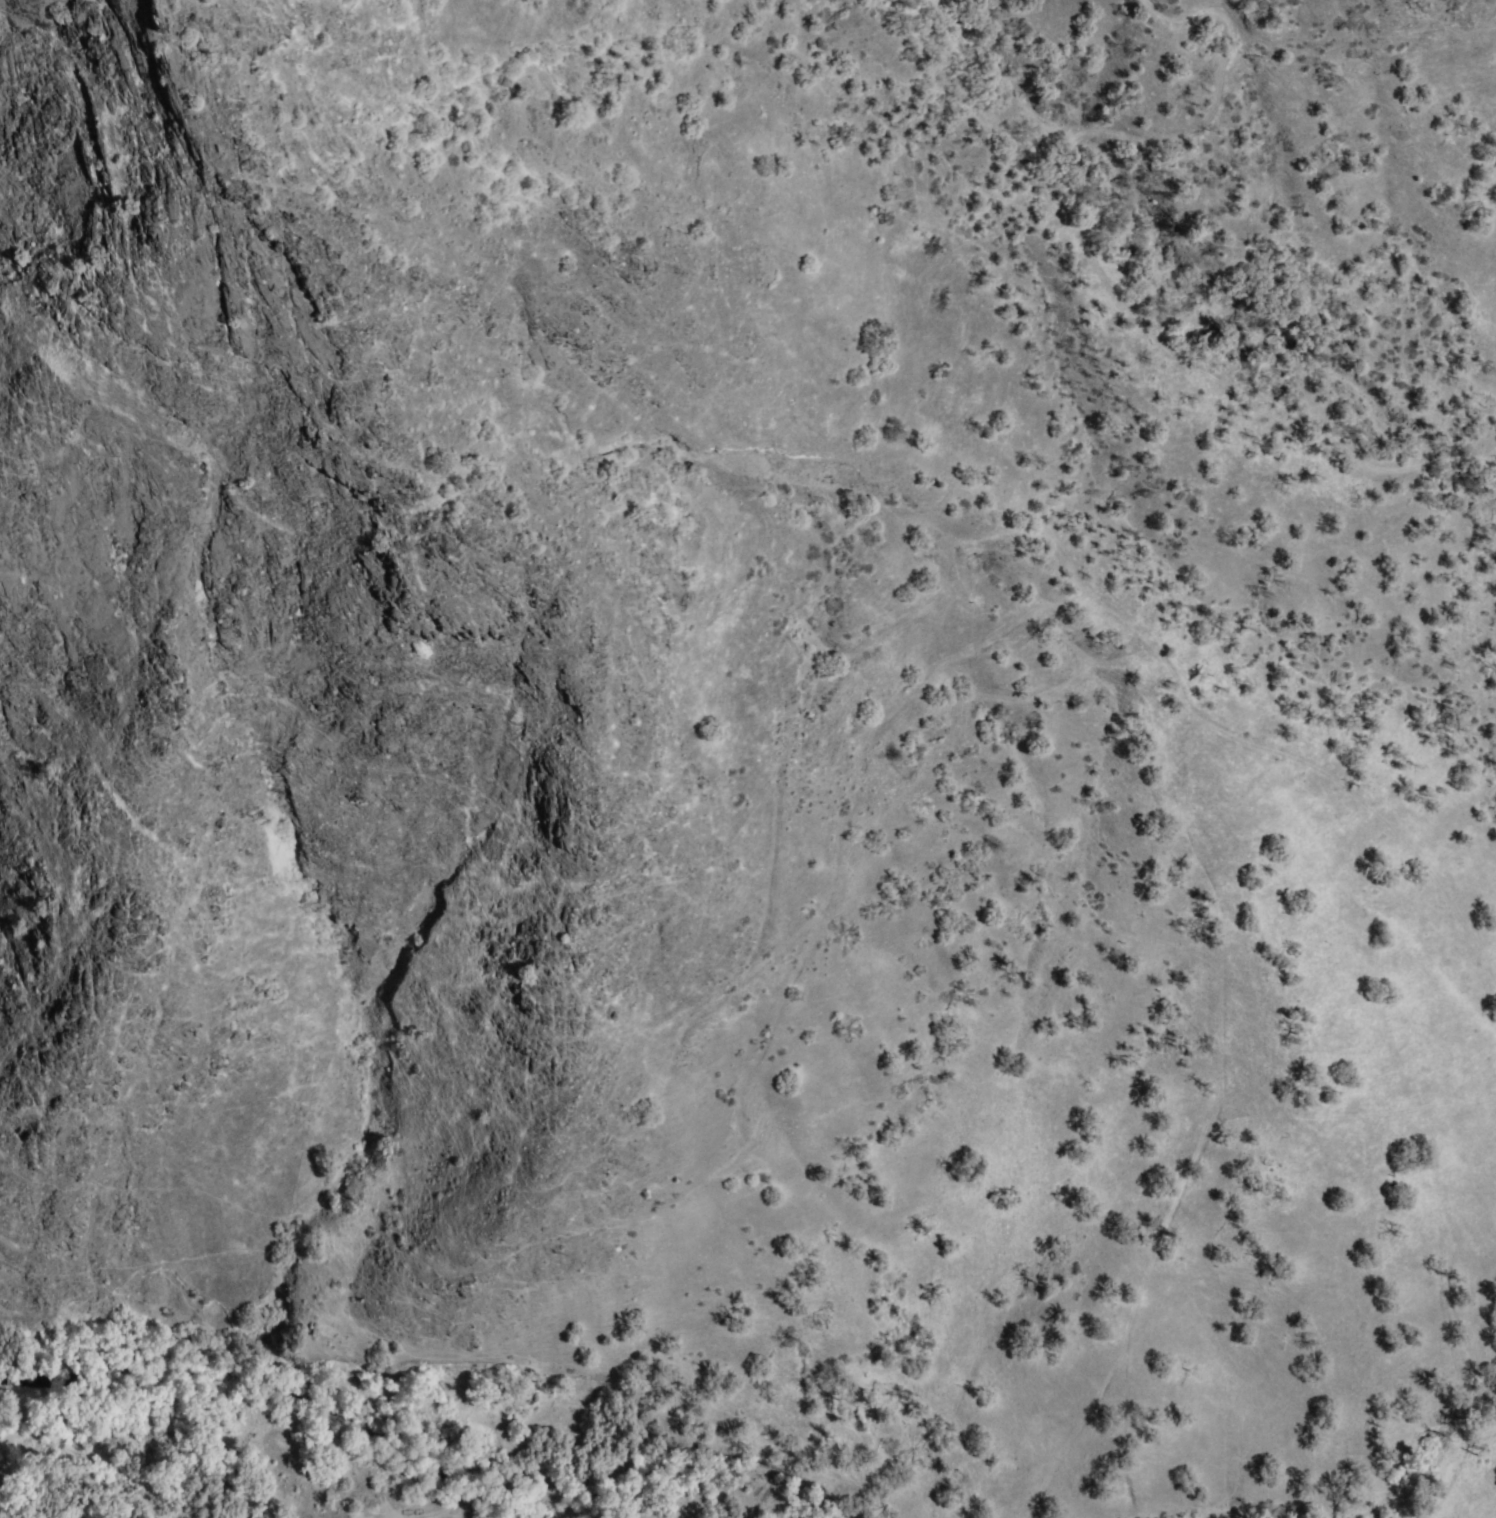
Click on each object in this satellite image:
road: (1189, 605)
road: (1098, 1372)
river: (304, 1409)

